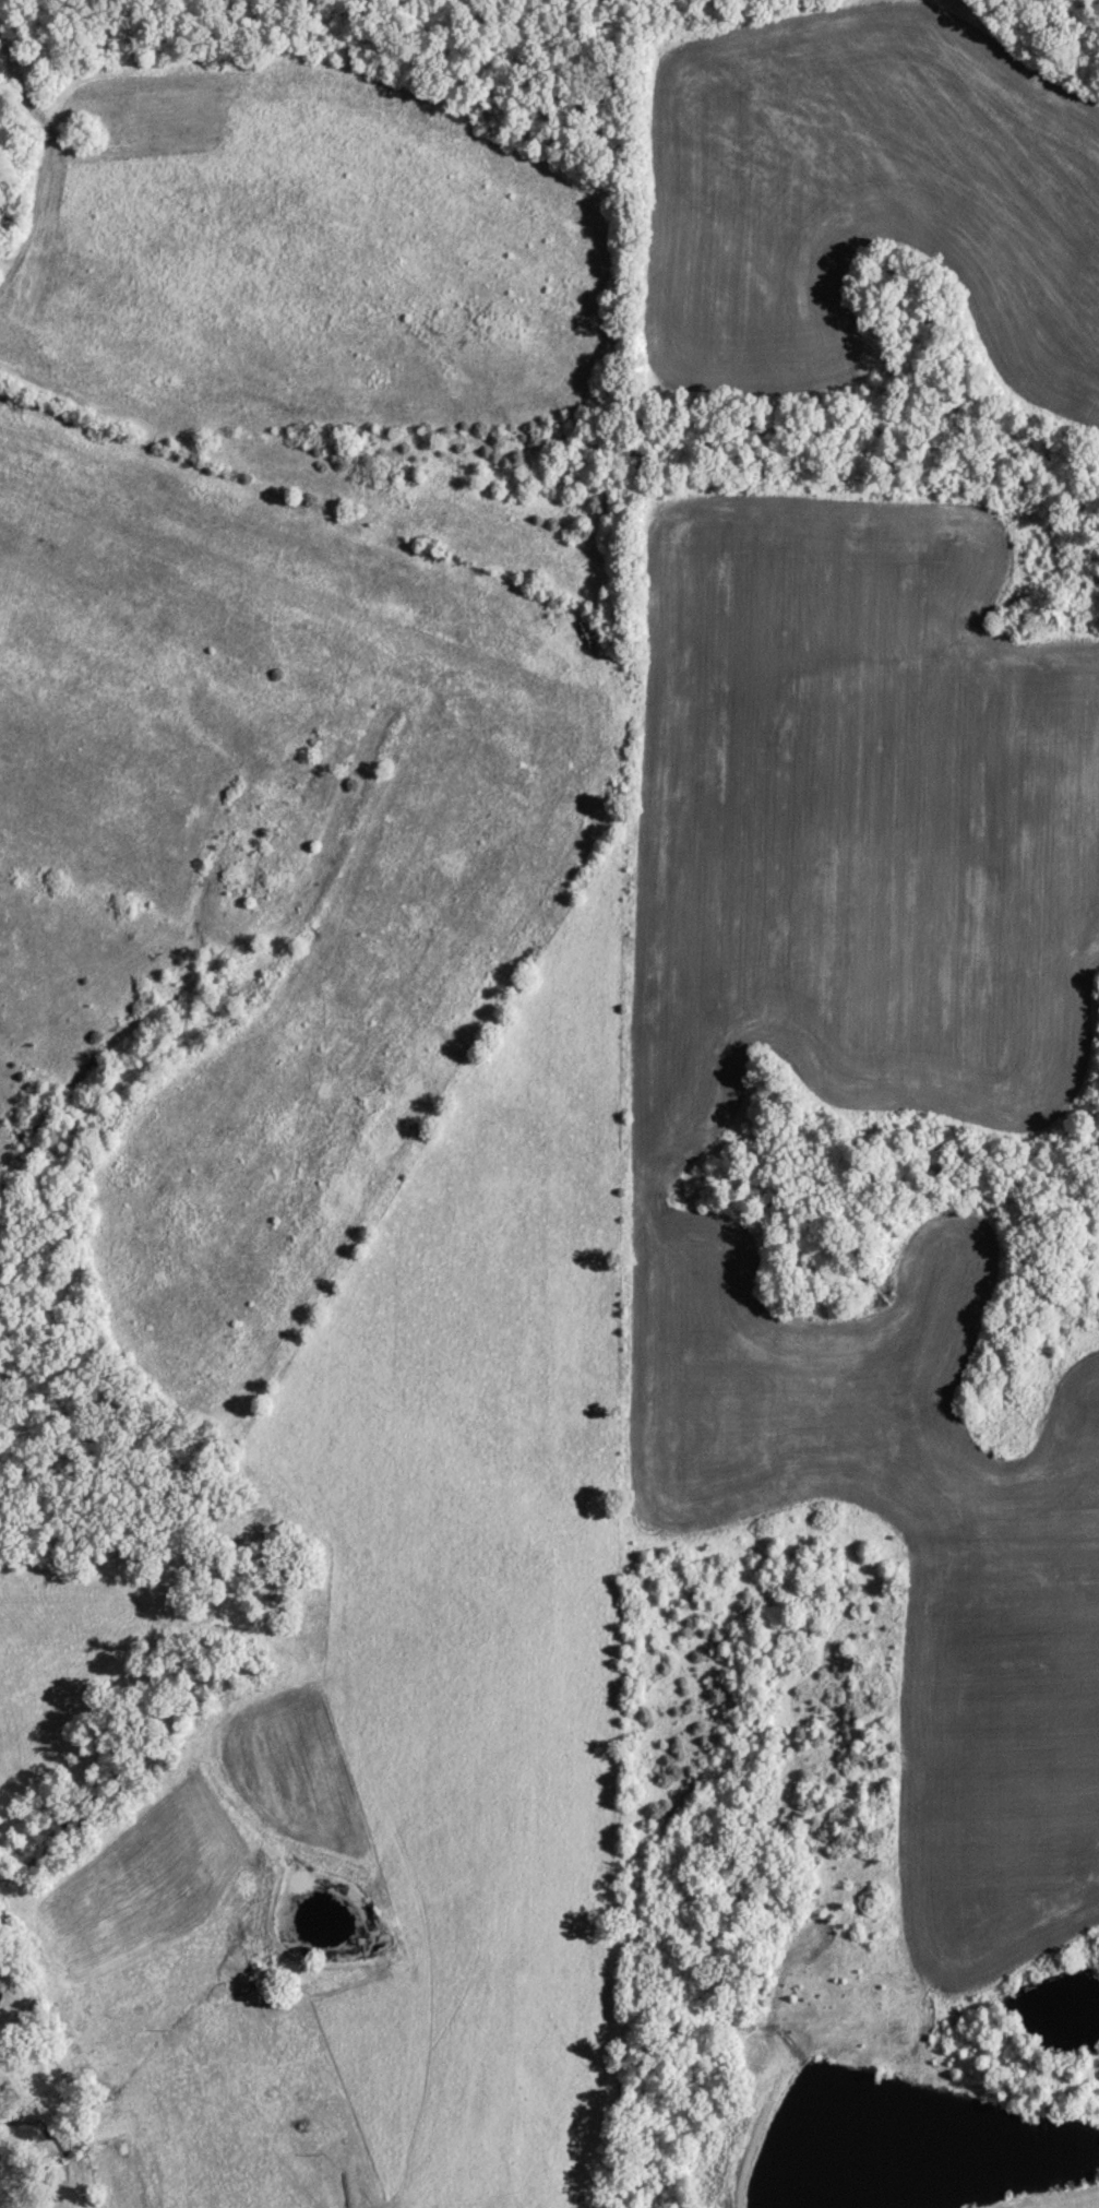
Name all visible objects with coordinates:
road: (13, 2198)

